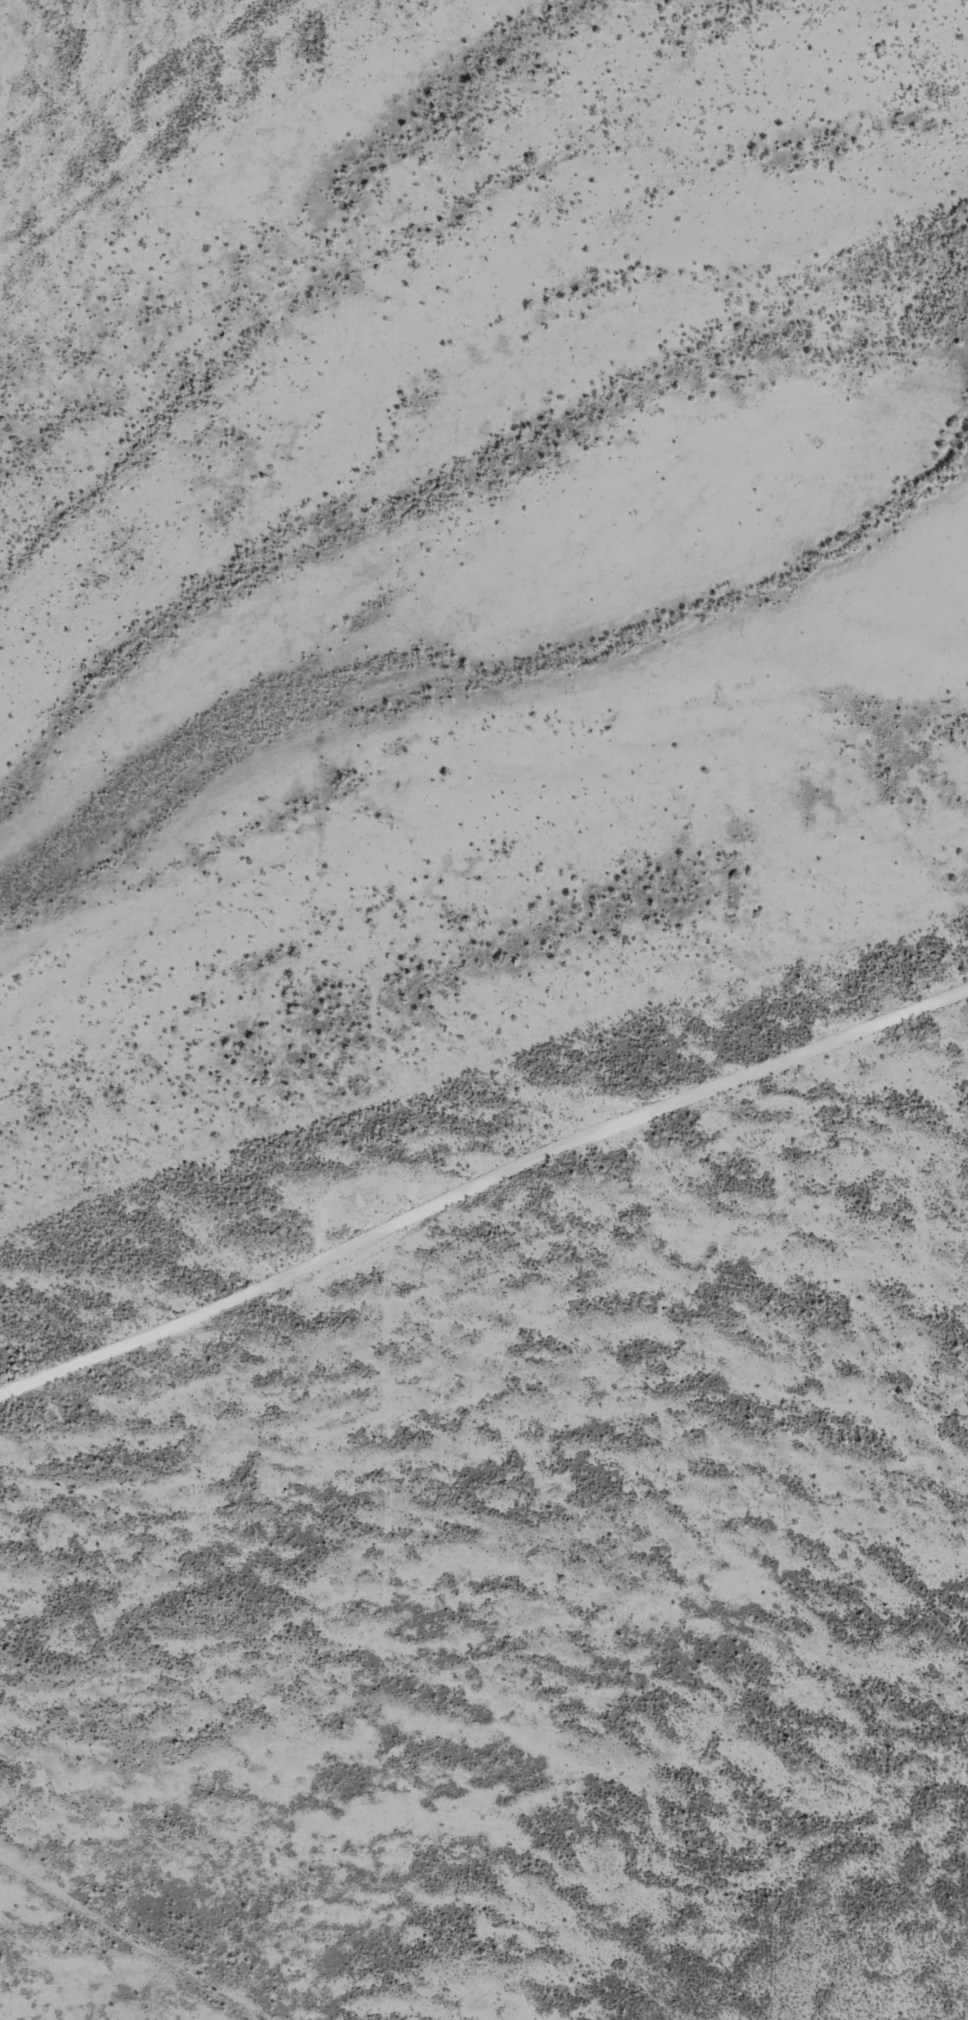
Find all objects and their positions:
road: (172, 1936)

